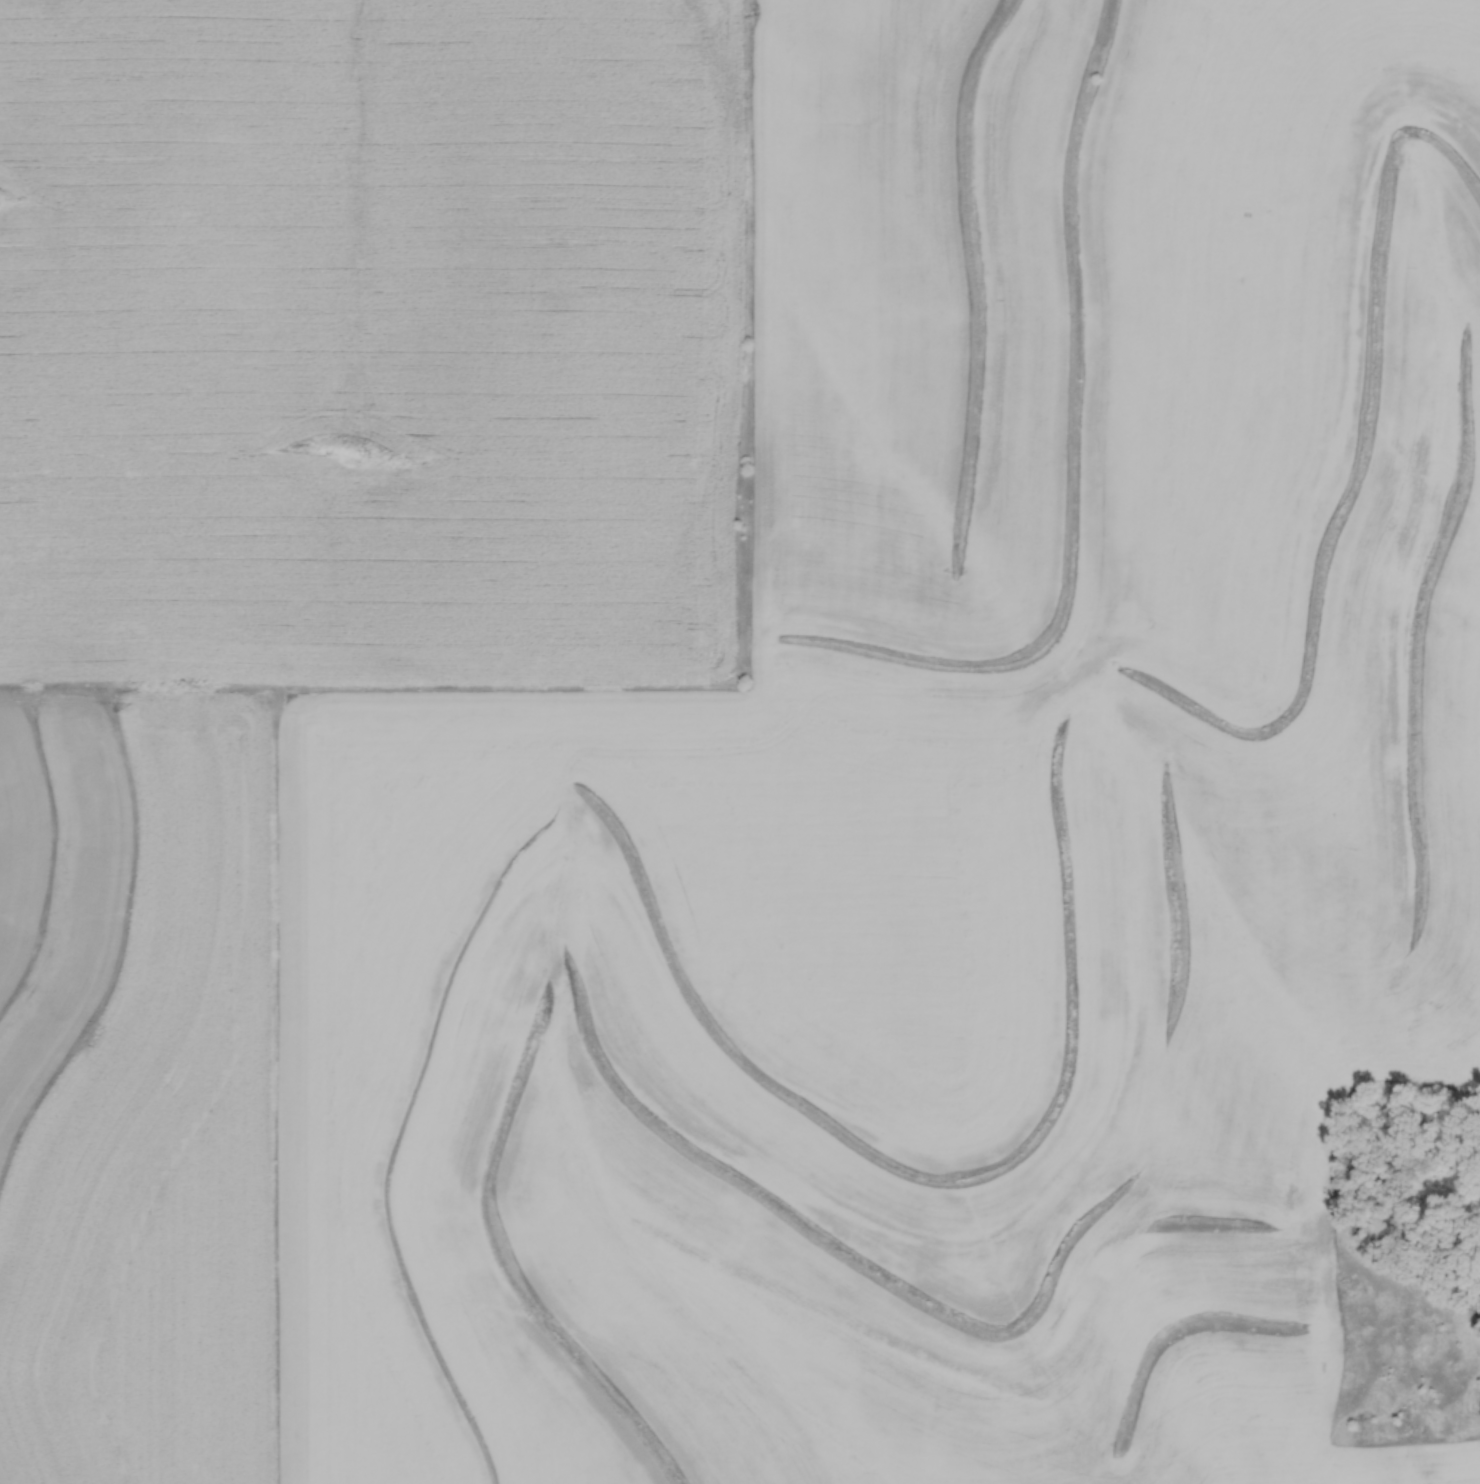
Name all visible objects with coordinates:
building: (1344, 1285)

